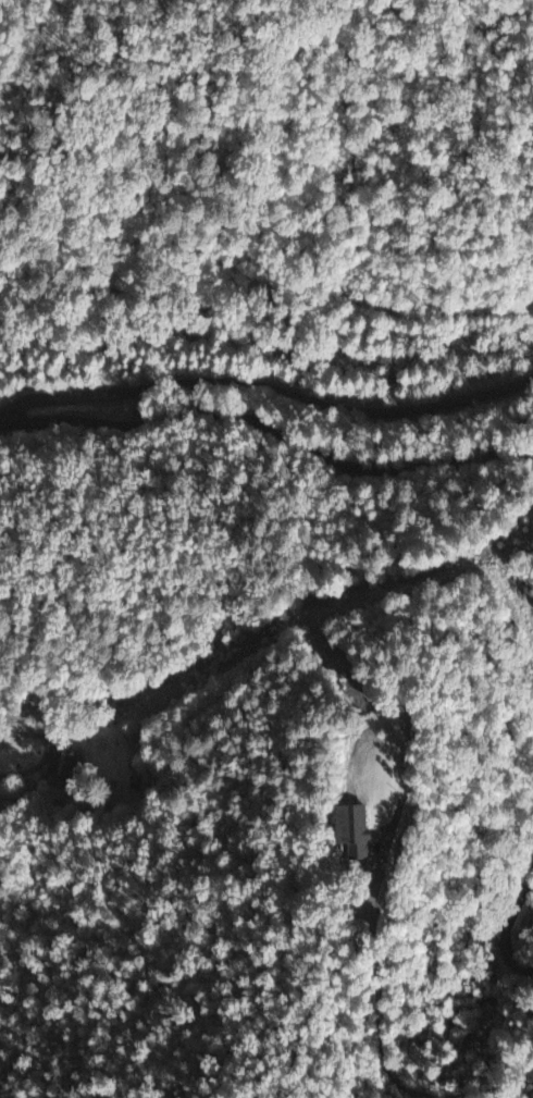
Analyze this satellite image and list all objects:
road: (270, 393)
road: (266, 432)
road: (150, 657)
road: (241, 662)
building: (60, 772)
building: (349, 836)
road: (505, 922)
road: (66, 1003)
road: (377, 1006)
road: (503, 1088)

